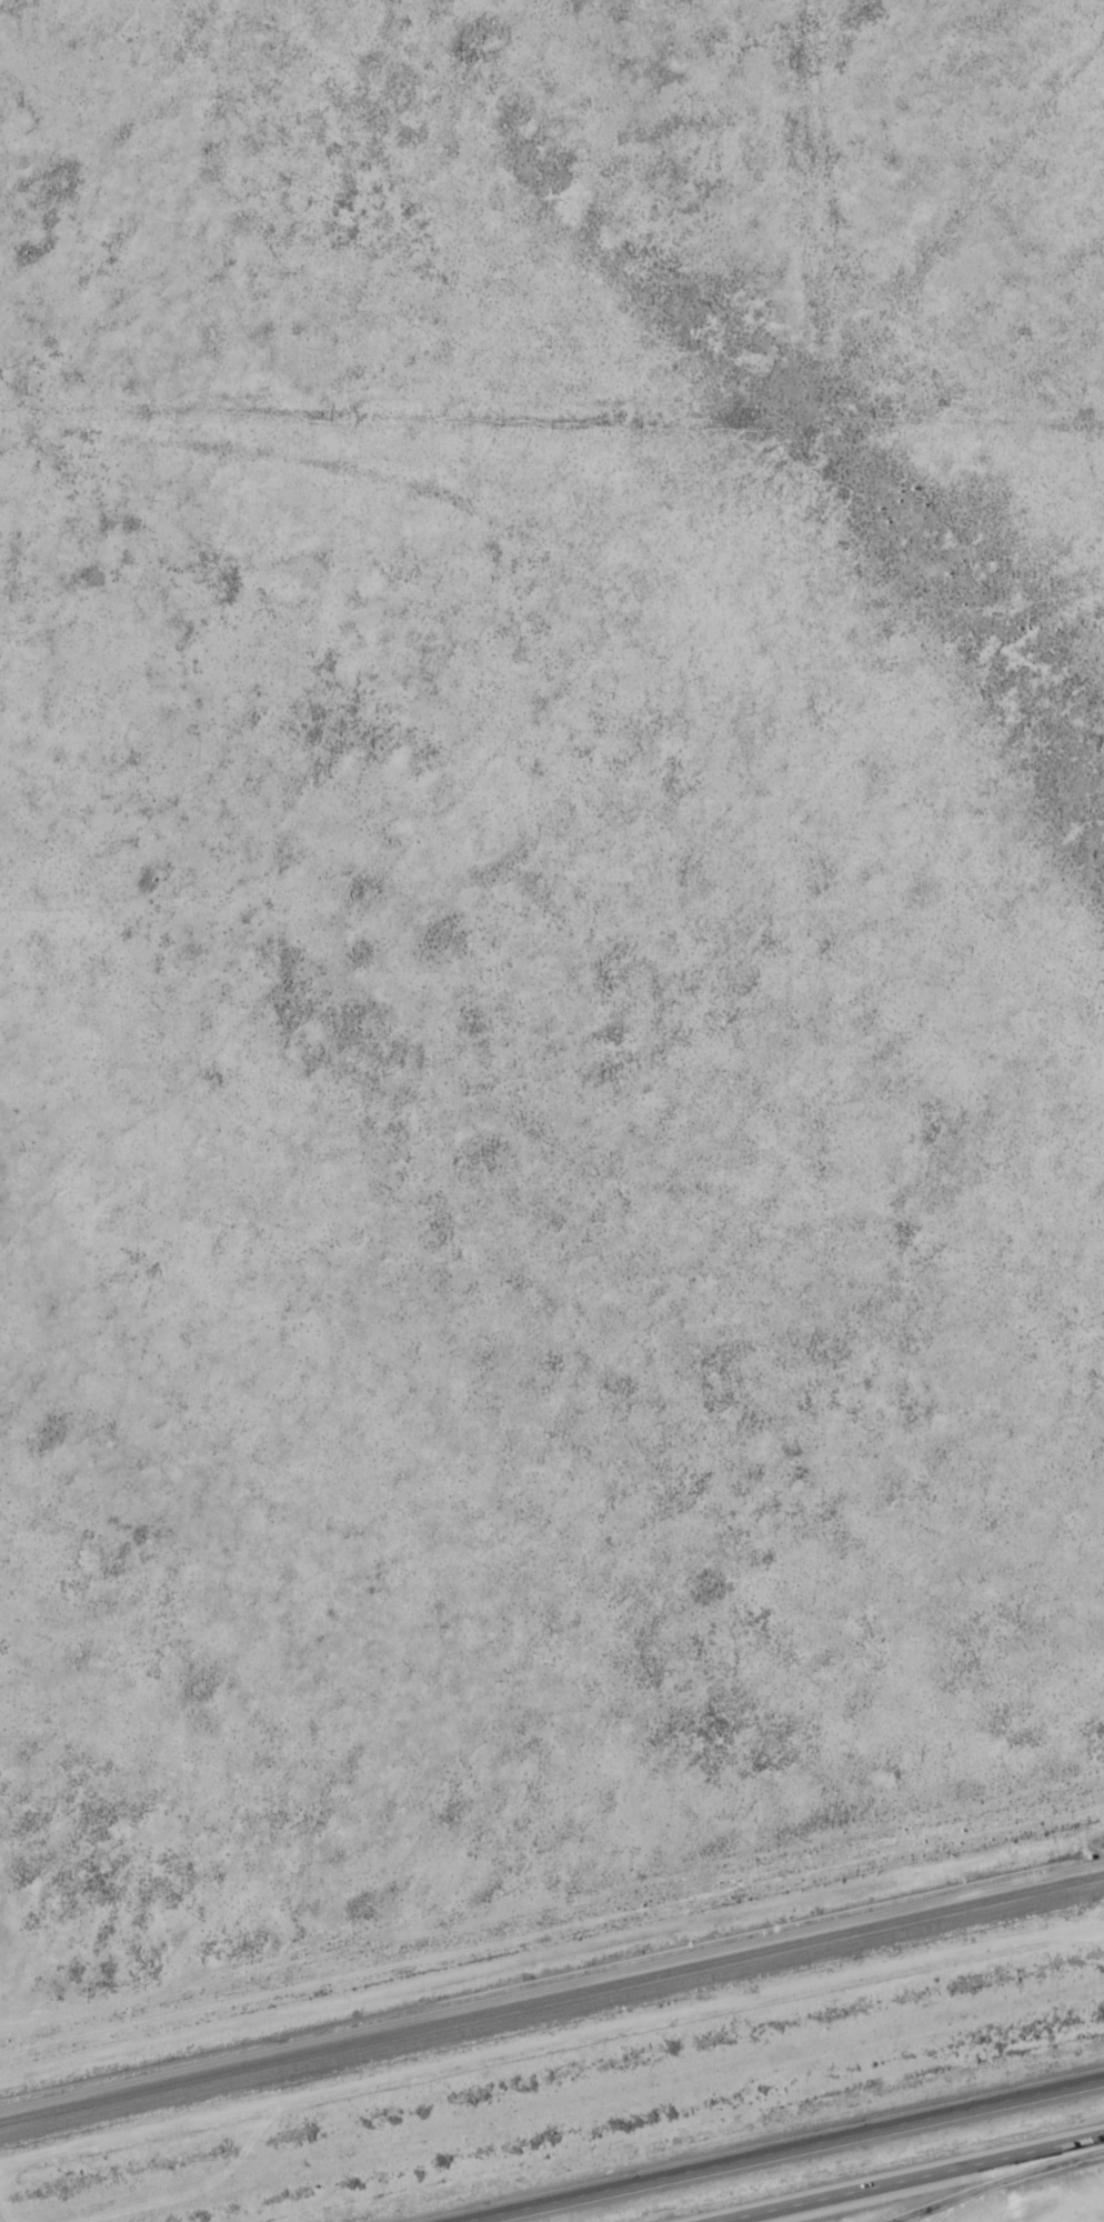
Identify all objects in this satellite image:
railway: (551, 1996)
railway: (551, 2008)
road: (786, 2150)
road: (910, 2178)
road: (998, 2185)

